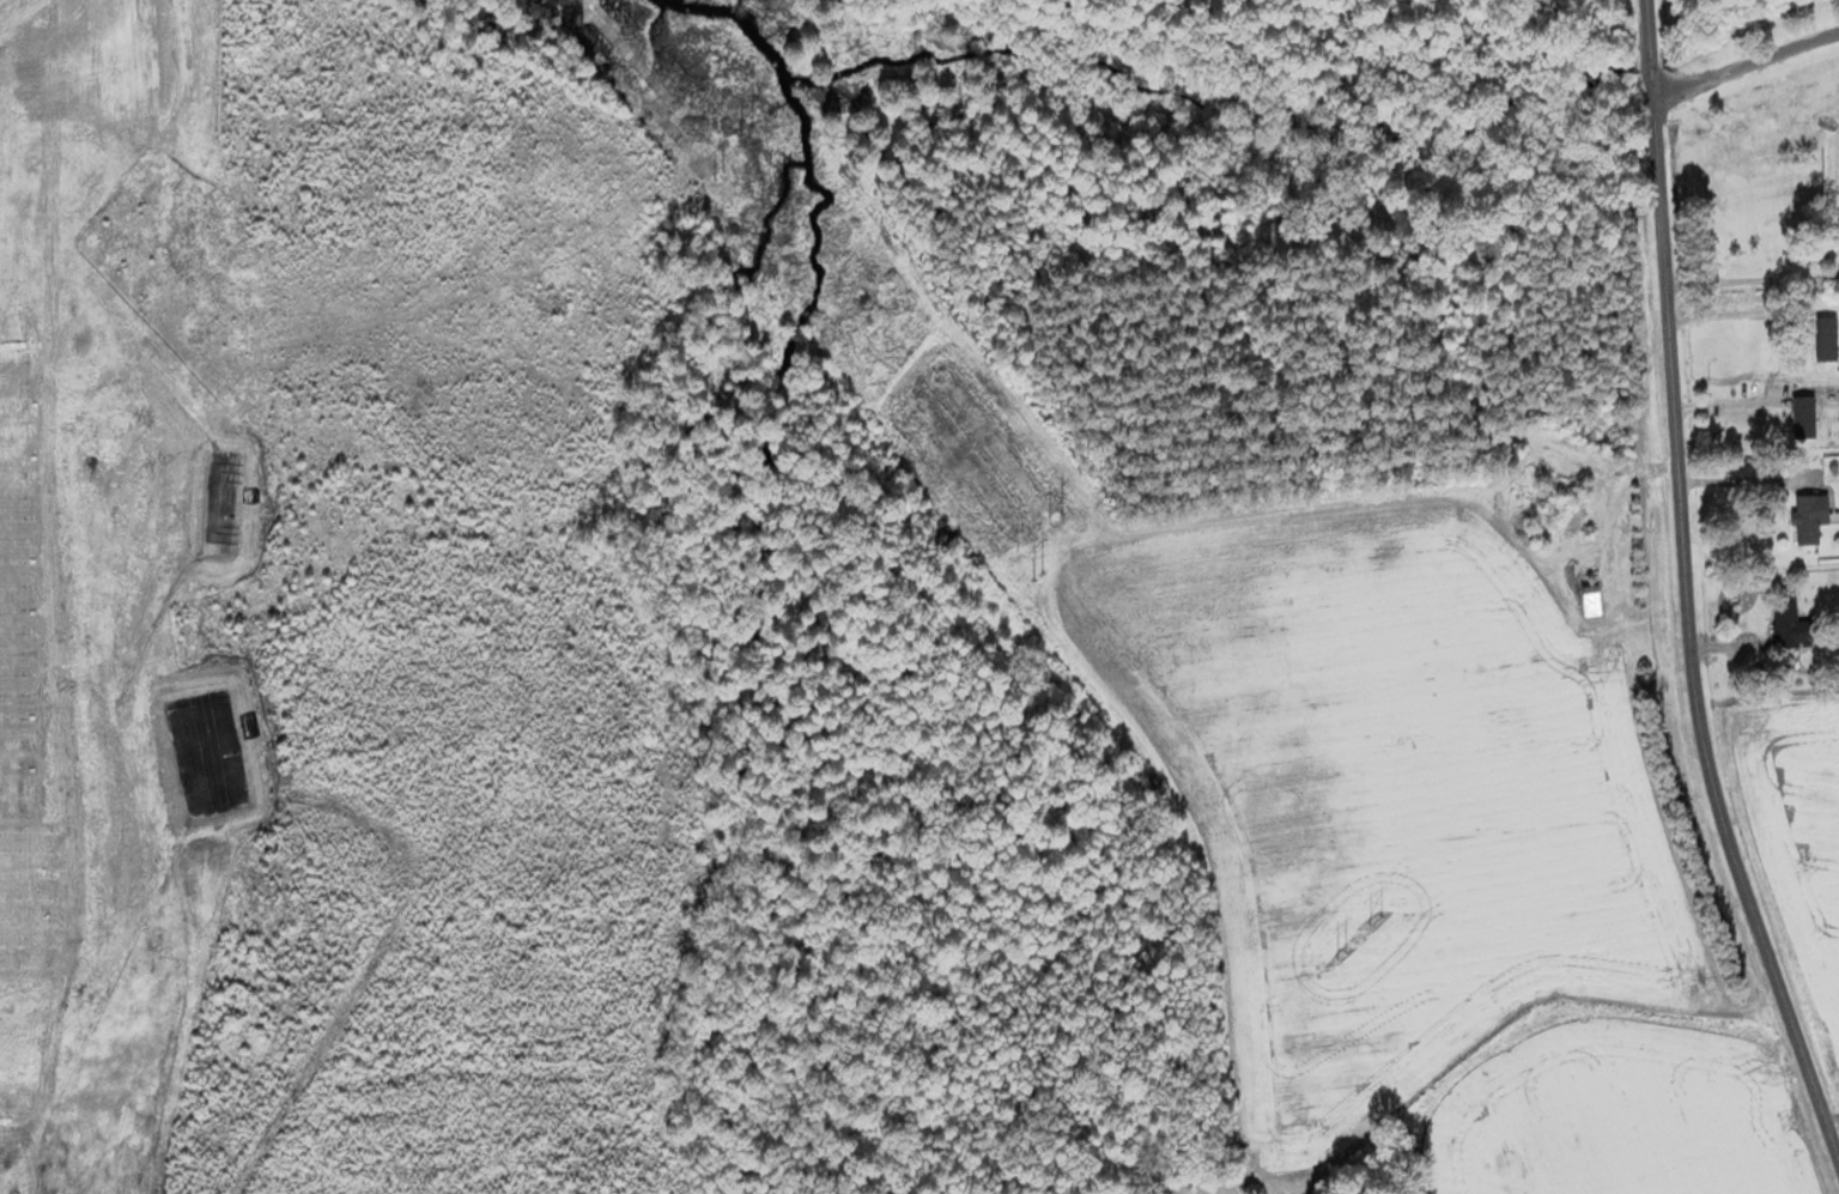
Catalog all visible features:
road: (1744, 62)
power tower: (761, 131)
building: (1772, 133)
building: (1828, 337)
building: (1807, 417)
road: (1740, 480)
building: (1813, 517)
power tower: (1070, 522)
road: (1682, 589)
building: (1594, 600)
building: (1795, 628)
solar farm: (45, 732)
power tower: (1379, 916)
road: (1833, 1121)

